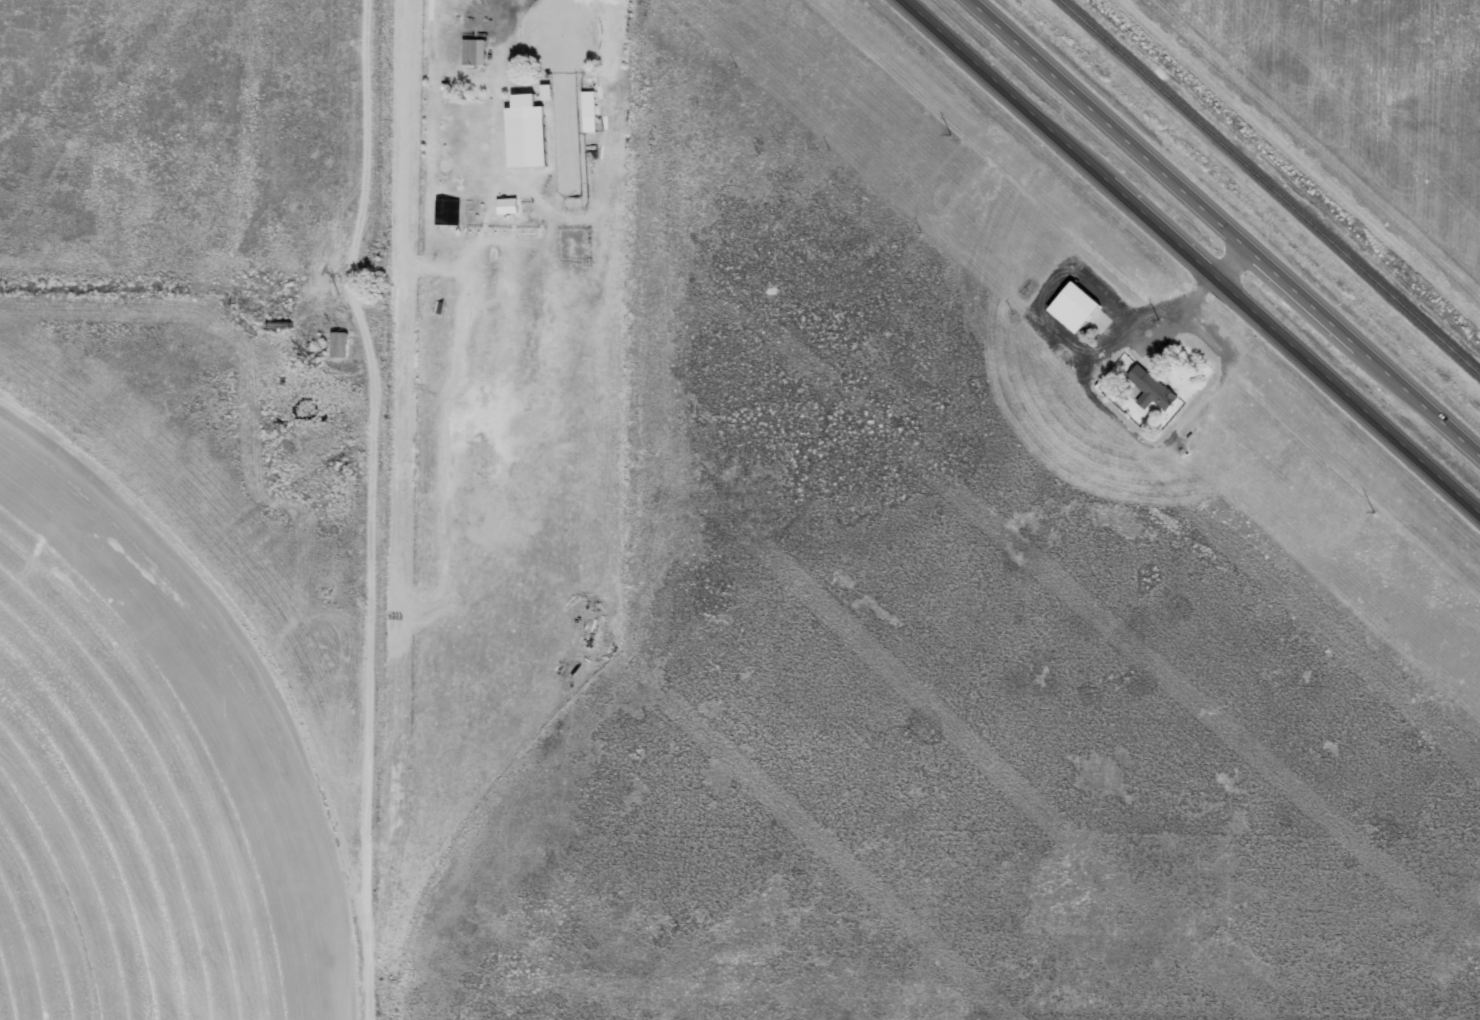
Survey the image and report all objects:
building: (473, 52)
railway: (1269, 187)
building: (447, 212)
road: (1228, 226)
road: (1189, 258)
building: (1074, 308)
building: (338, 345)
building: (1150, 391)

